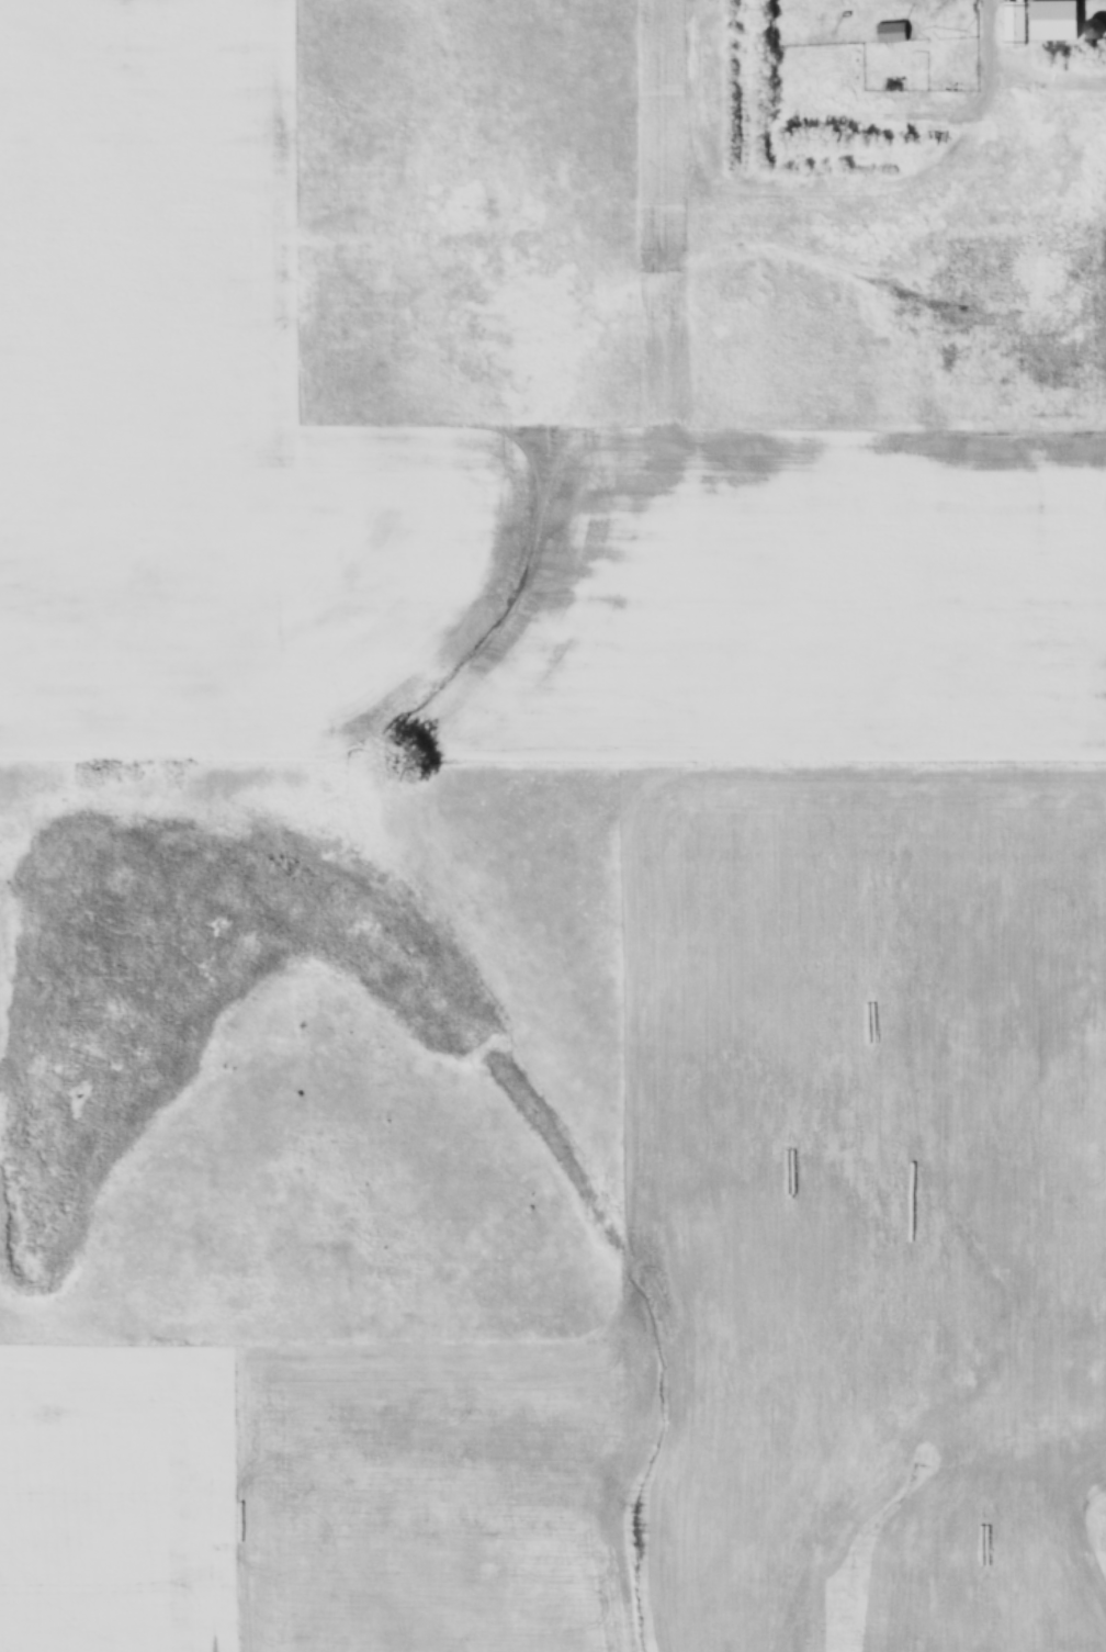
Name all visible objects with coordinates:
building: (1056, 21)
building: (1014, 24)
building: (892, 33)
building: (949, 72)

